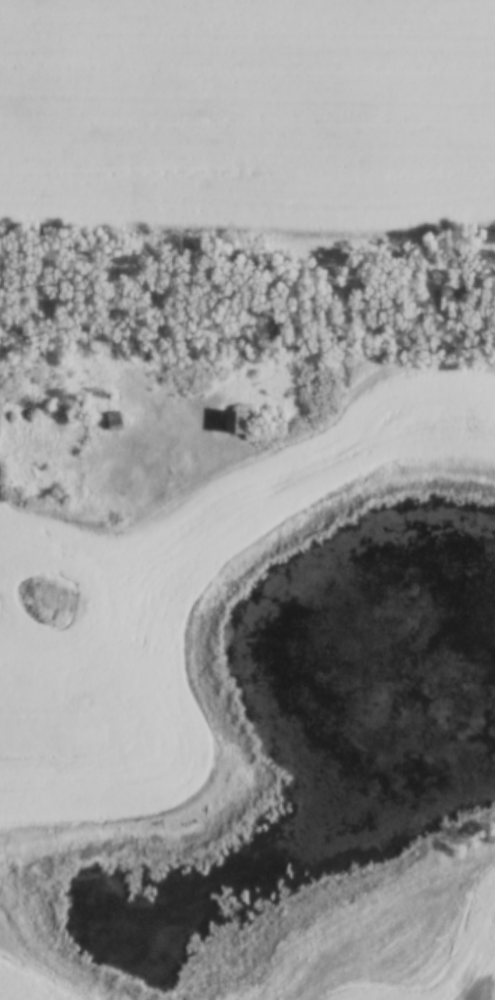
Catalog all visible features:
road: (361, 381)

